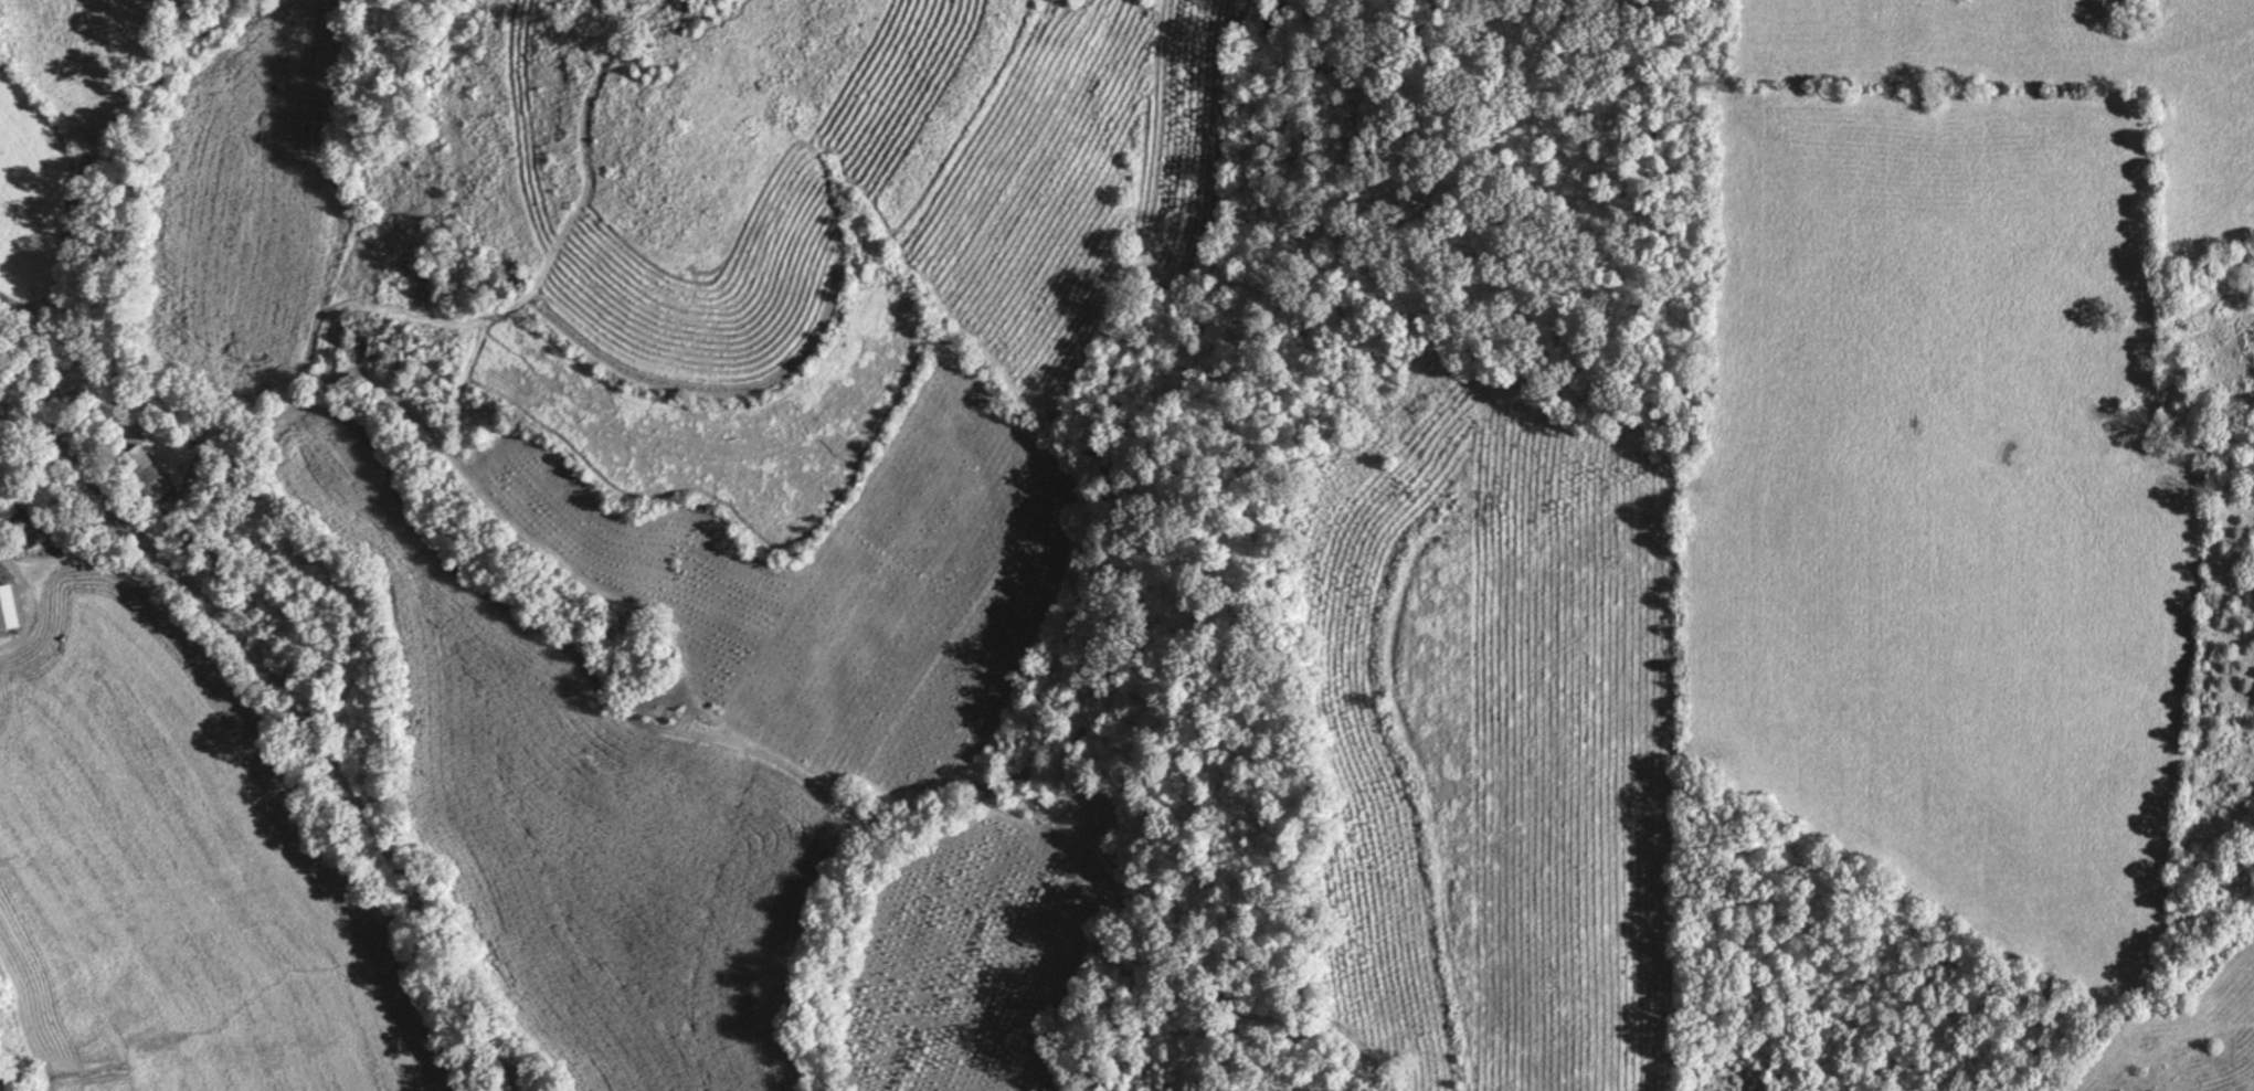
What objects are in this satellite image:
building: (148, 473)
building: (9, 607)

